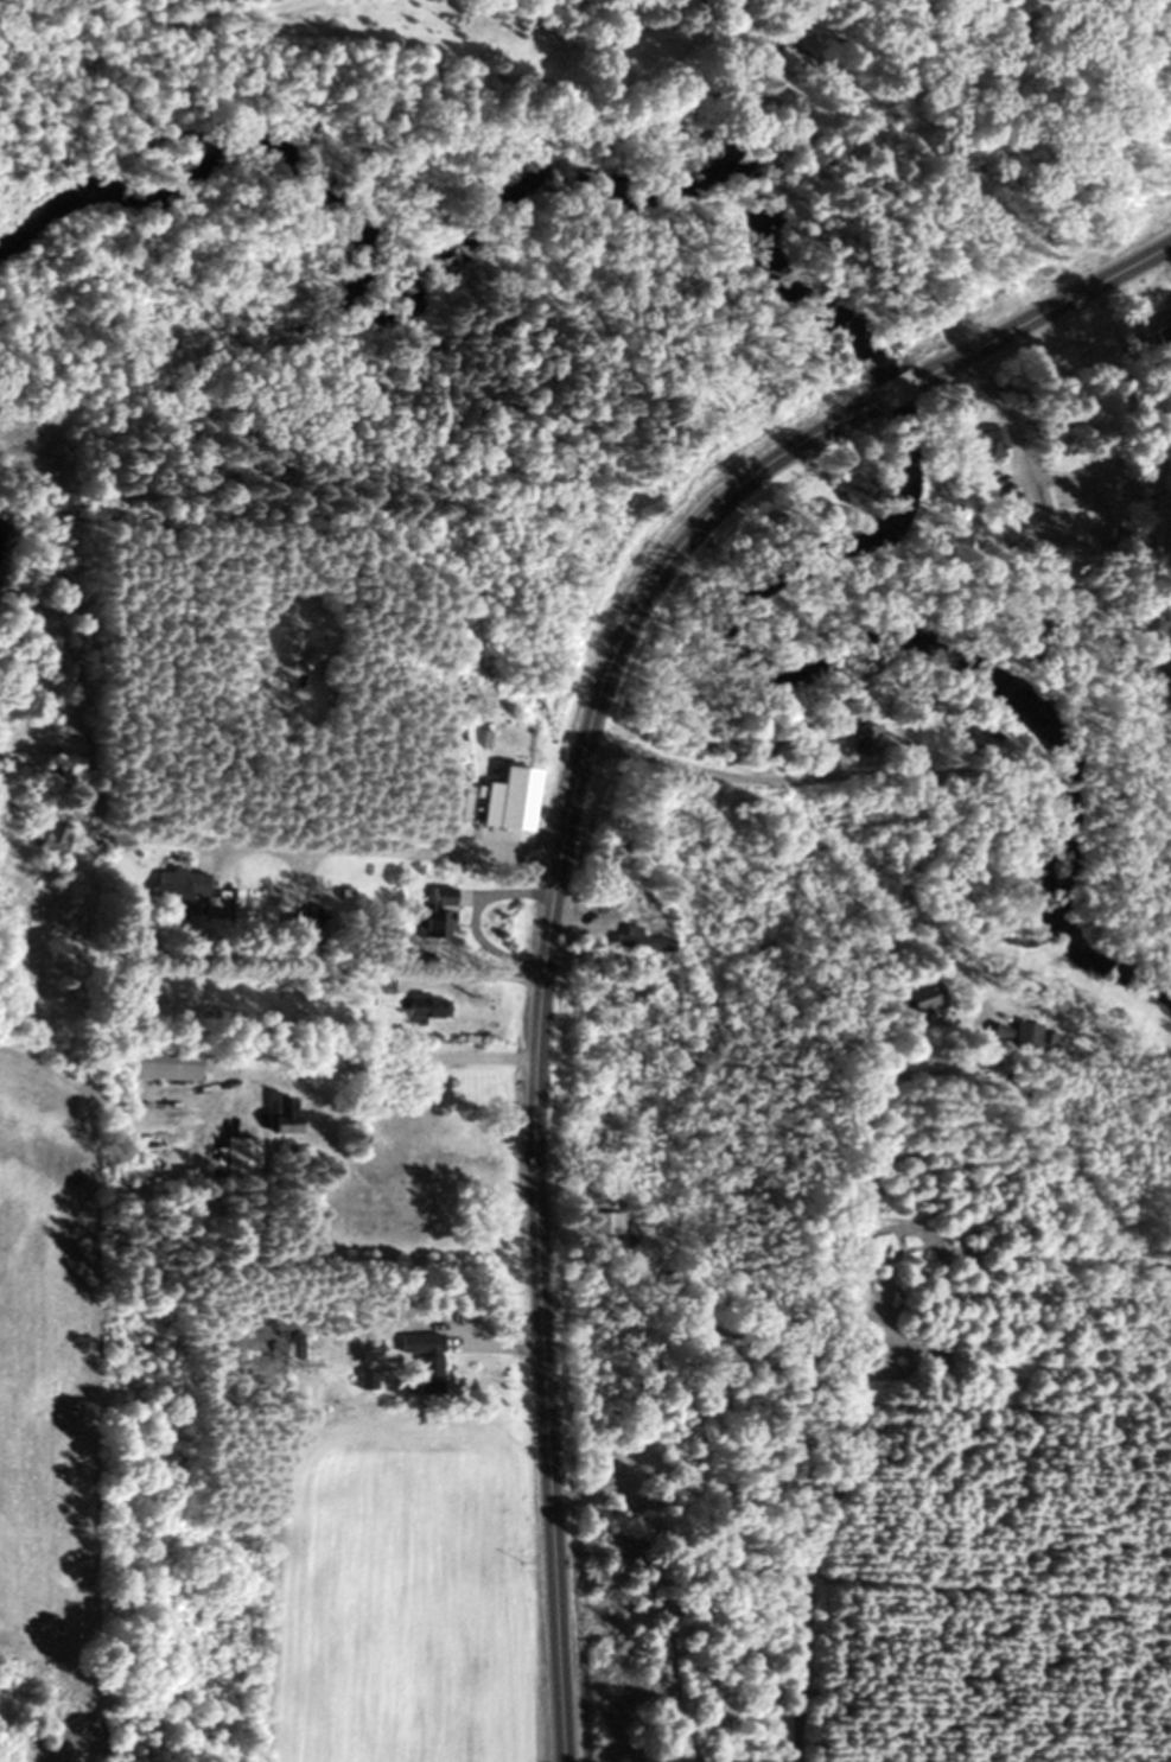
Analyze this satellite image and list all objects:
building: (785, 59)
river: (452, 171)
road: (1042, 312)
road: (893, 392)
building: (995, 445)
river: (936, 458)
building: (281, 642)
building: (980, 737)
building: (867, 738)
road: (863, 771)
building: (526, 799)
building: (58, 840)
road: (382, 851)
building: (236, 879)
building: (182, 890)
building: (443, 910)
road: (946, 948)
road: (477, 981)
building: (927, 993)
building: (431, 1007)
road: (537, 1017)
road: (383, 1061)
building: (168, 1063)
building: (988, 1067)
building: (289, 1115)
building: (246, 1158)
building: (603, 1226)
building: (303, 1348)
building: (429, 1365)
building: (371, 1380)

